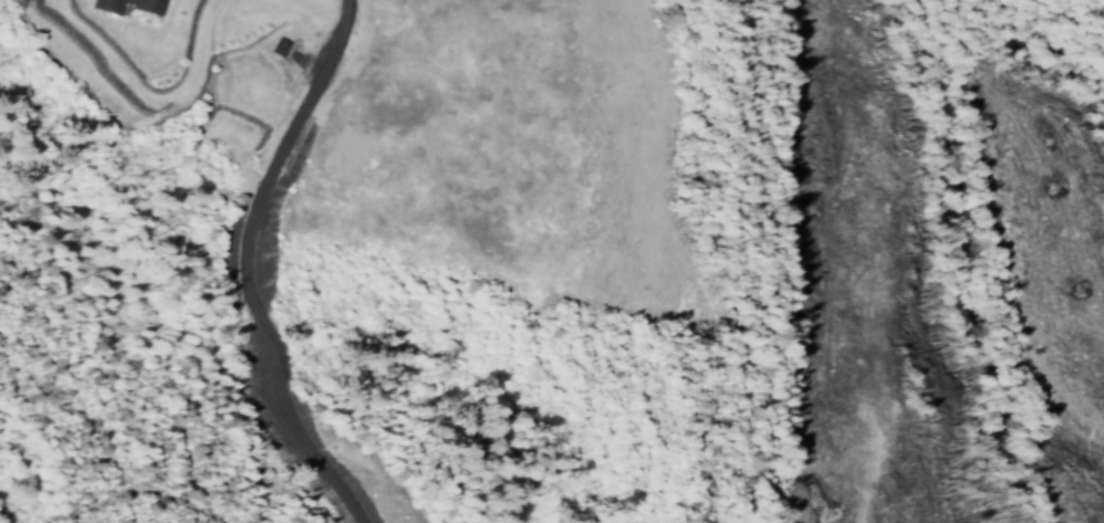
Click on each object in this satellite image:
building: (110, 2)
building: (149, 2)
building: (272, 45)
road: (246, 265)

